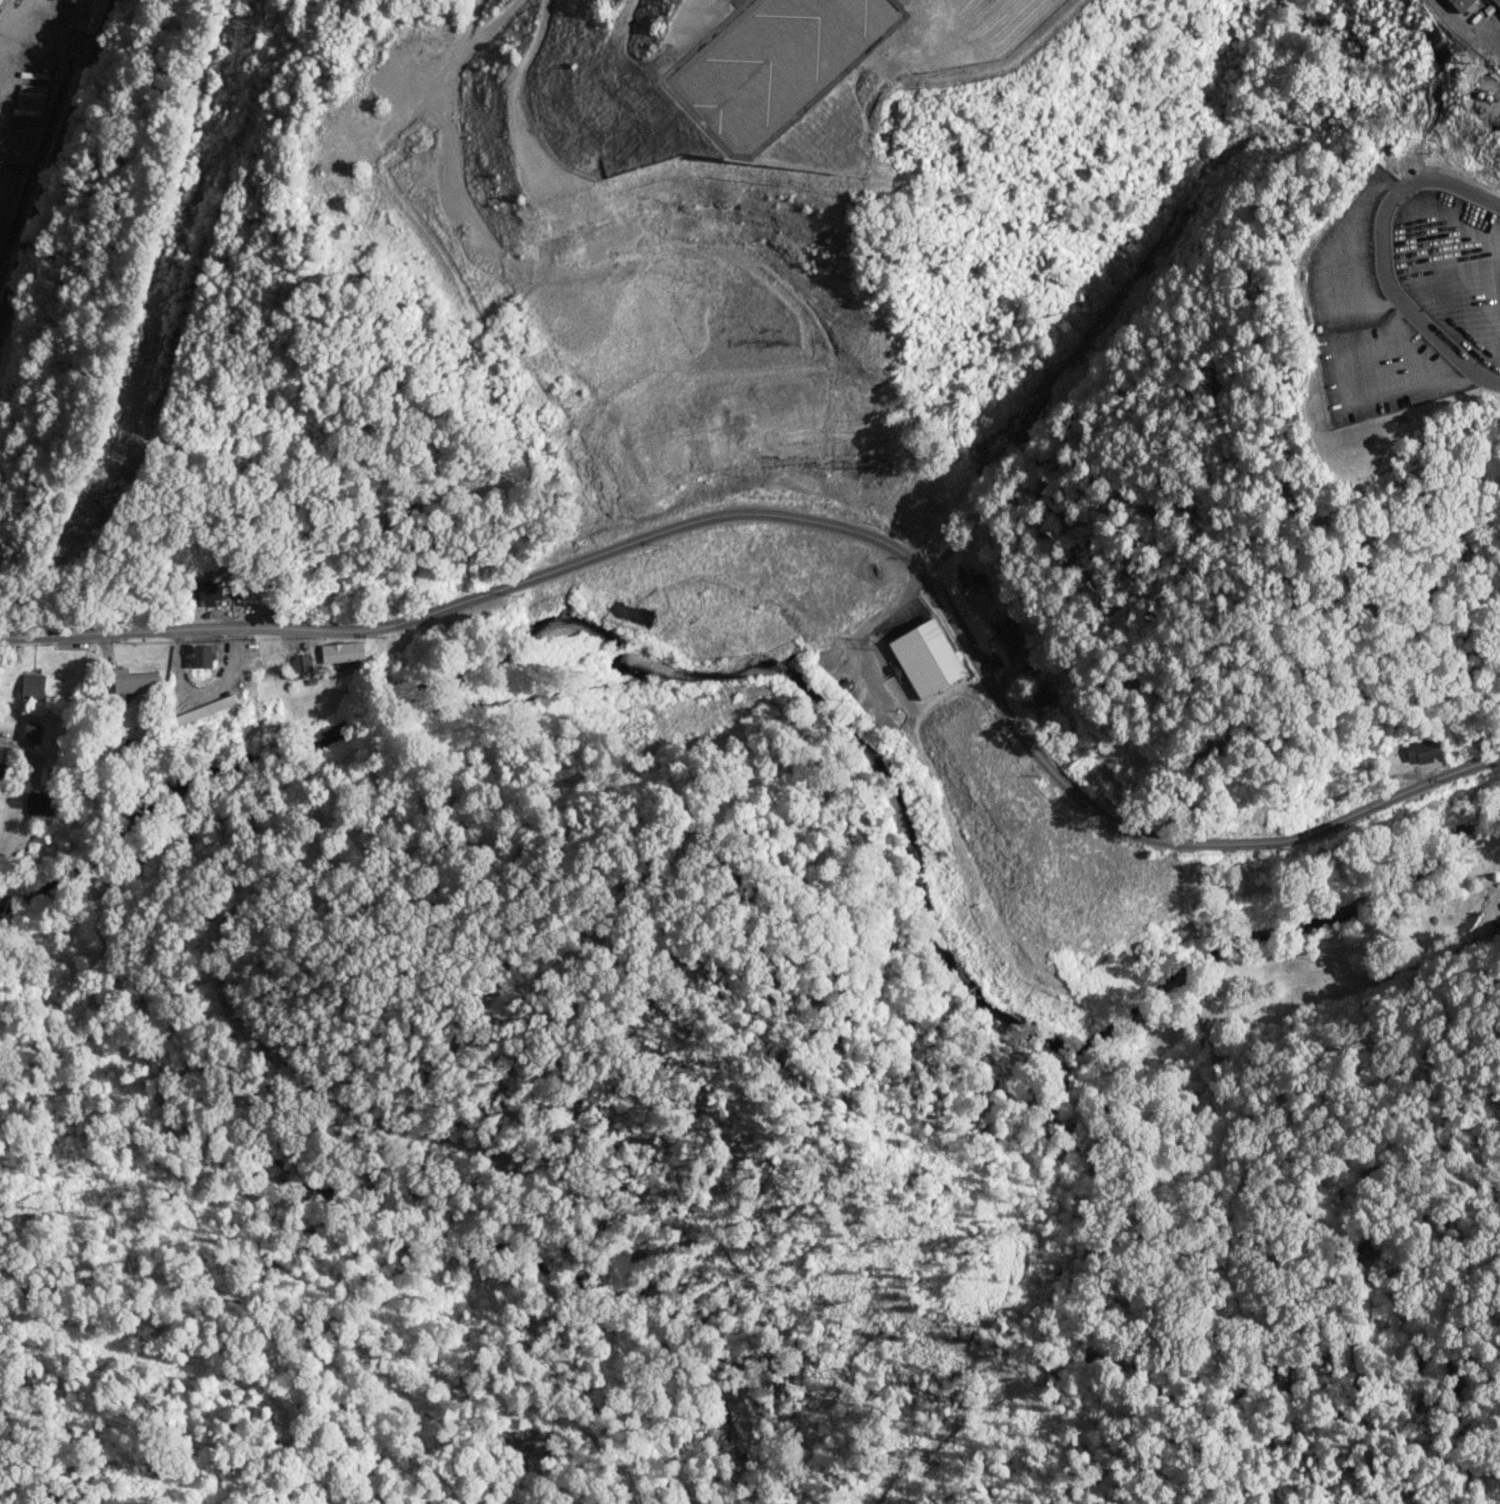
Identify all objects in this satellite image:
building: (1498, 1)
building: (1461, 4)
road: (464, 20)
road: (490, 23)
airport runway: (789, 44)
road: (51, 156)
airport: (1115, 162)
road: (597, 172)
road: (1383, 256)
road: (819, 522)
building: (210, 592)
building: (1008, 637)
building: (342, 651)
building: (203, 656)
building: (926, 658)
building: (300, 662)
building: (993, 662)
building: (135, 680)
building: (32, 685)
building: (1041, 695)
building: (204, 709)
river: (833, 714)
building: (33, 733)
building: (1422, 750)
road: (15, 752)
building: (38, 802)
road: (1470, 927)

